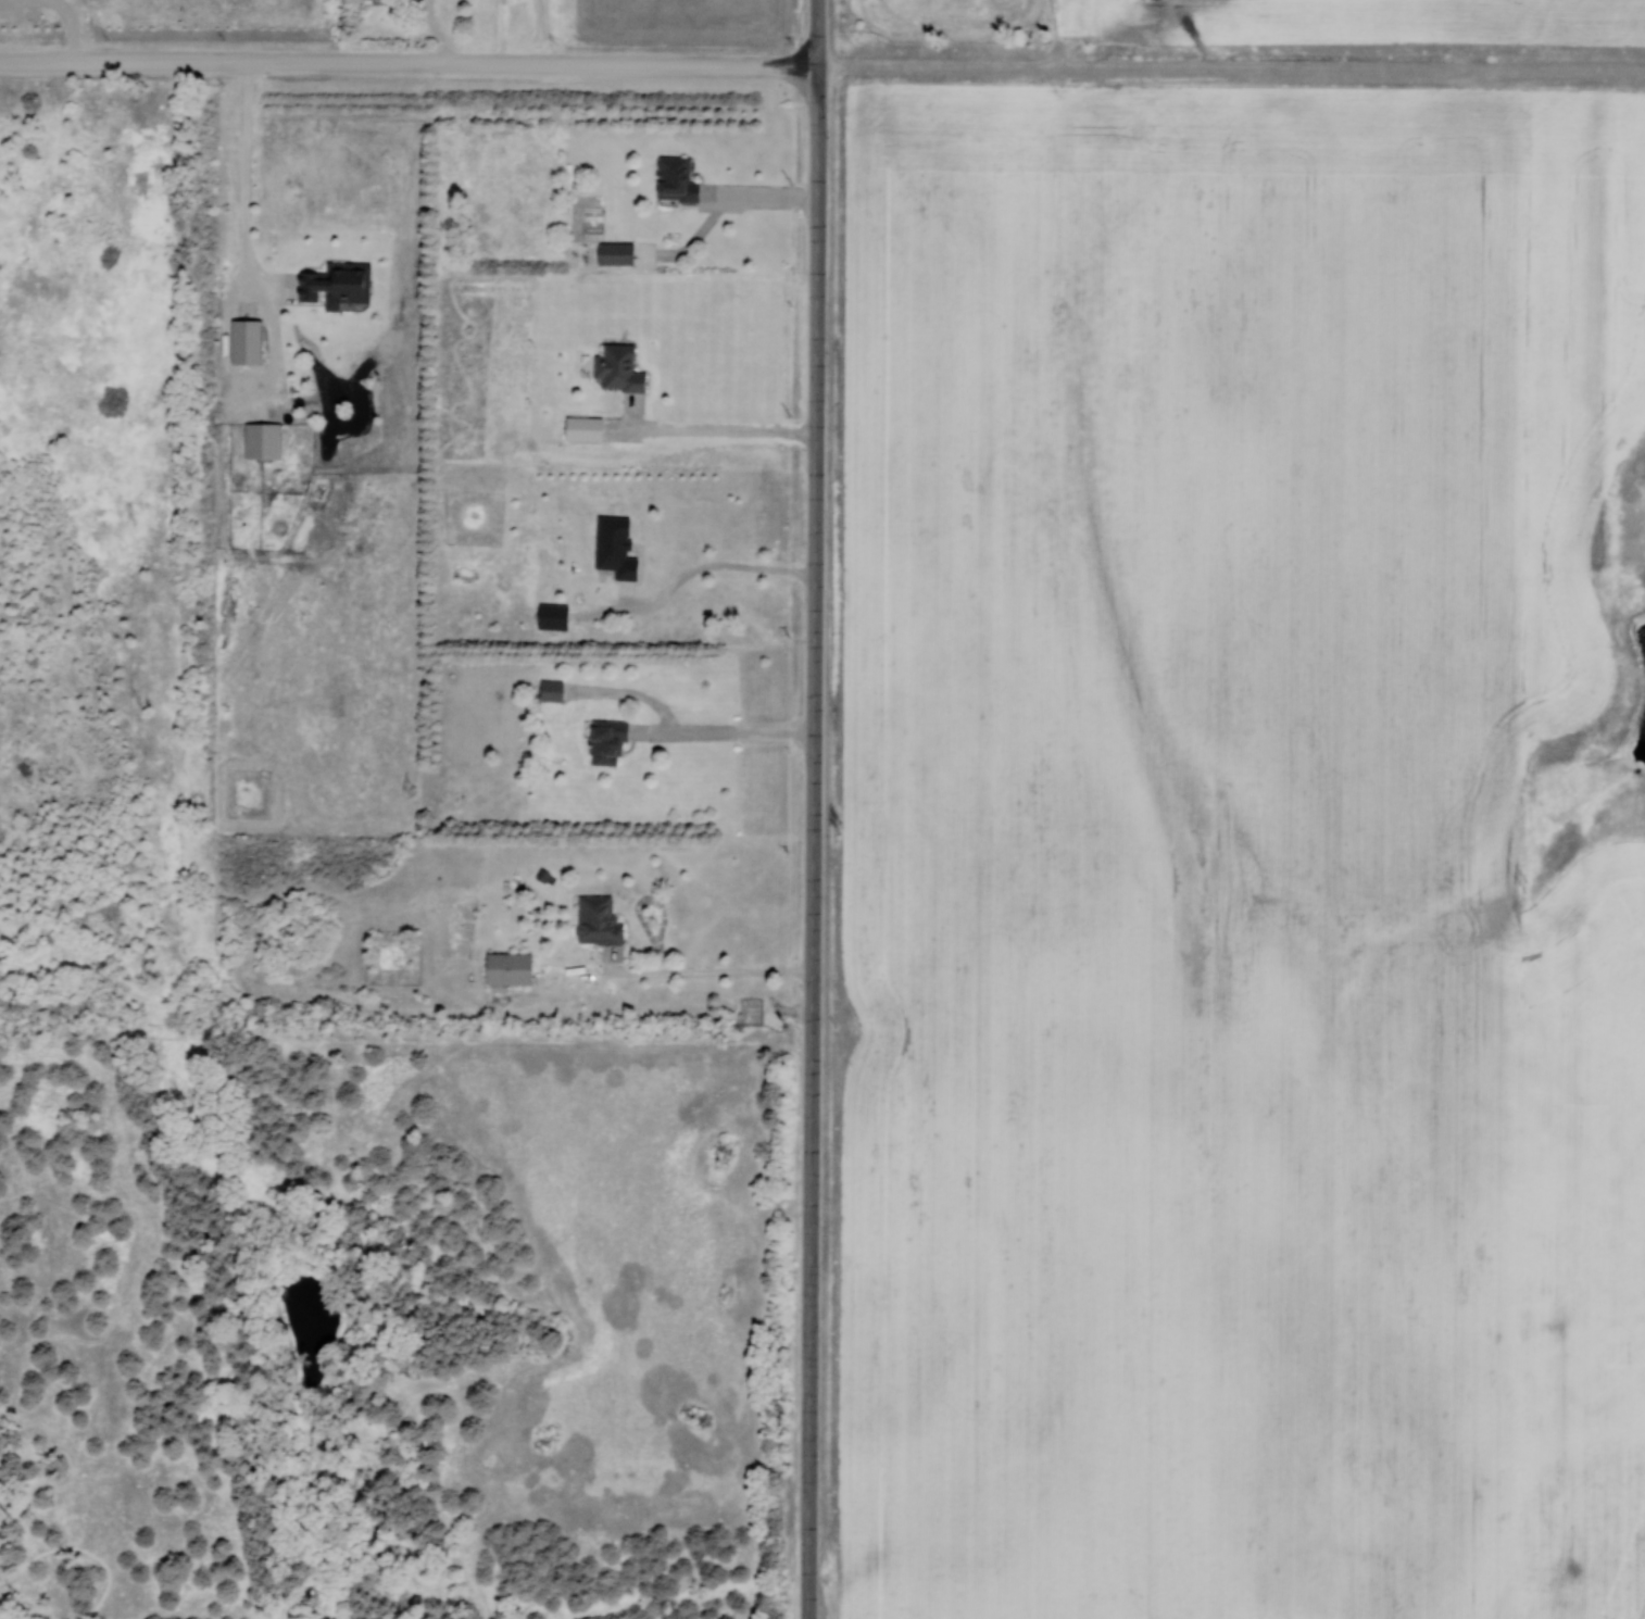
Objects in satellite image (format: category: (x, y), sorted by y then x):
road: (101, 32)
road: (410, 65)
building: (683, 177)
building: (621, 252)
building: (342, 283)
building: (254, 340)
building: (626, 367)
building: (268, 439)
building: (624, 545)
road: (738, 574)
building: (557, 690)
road: (734, 733)
building: (615, 740)
power tower: (412, 790)
road: (815, 808)
power tower: (840, 827)
power tower: (1528, 884)
building: (604, 919)
building: (517, 967)
road: (679, 971)
building: (5, 1618)

